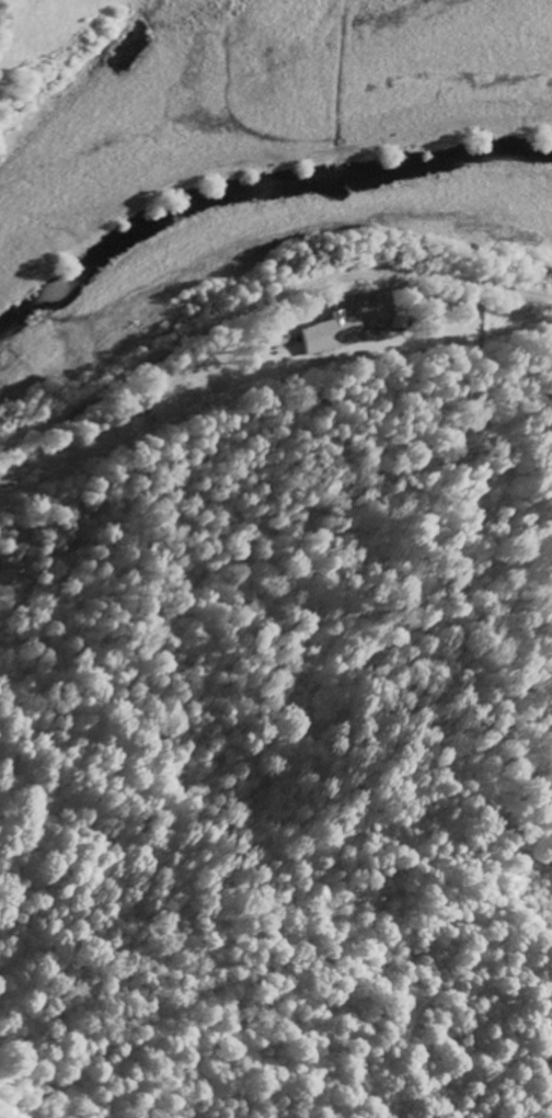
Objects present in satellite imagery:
road: (261, 304)
building: (330, 332)

